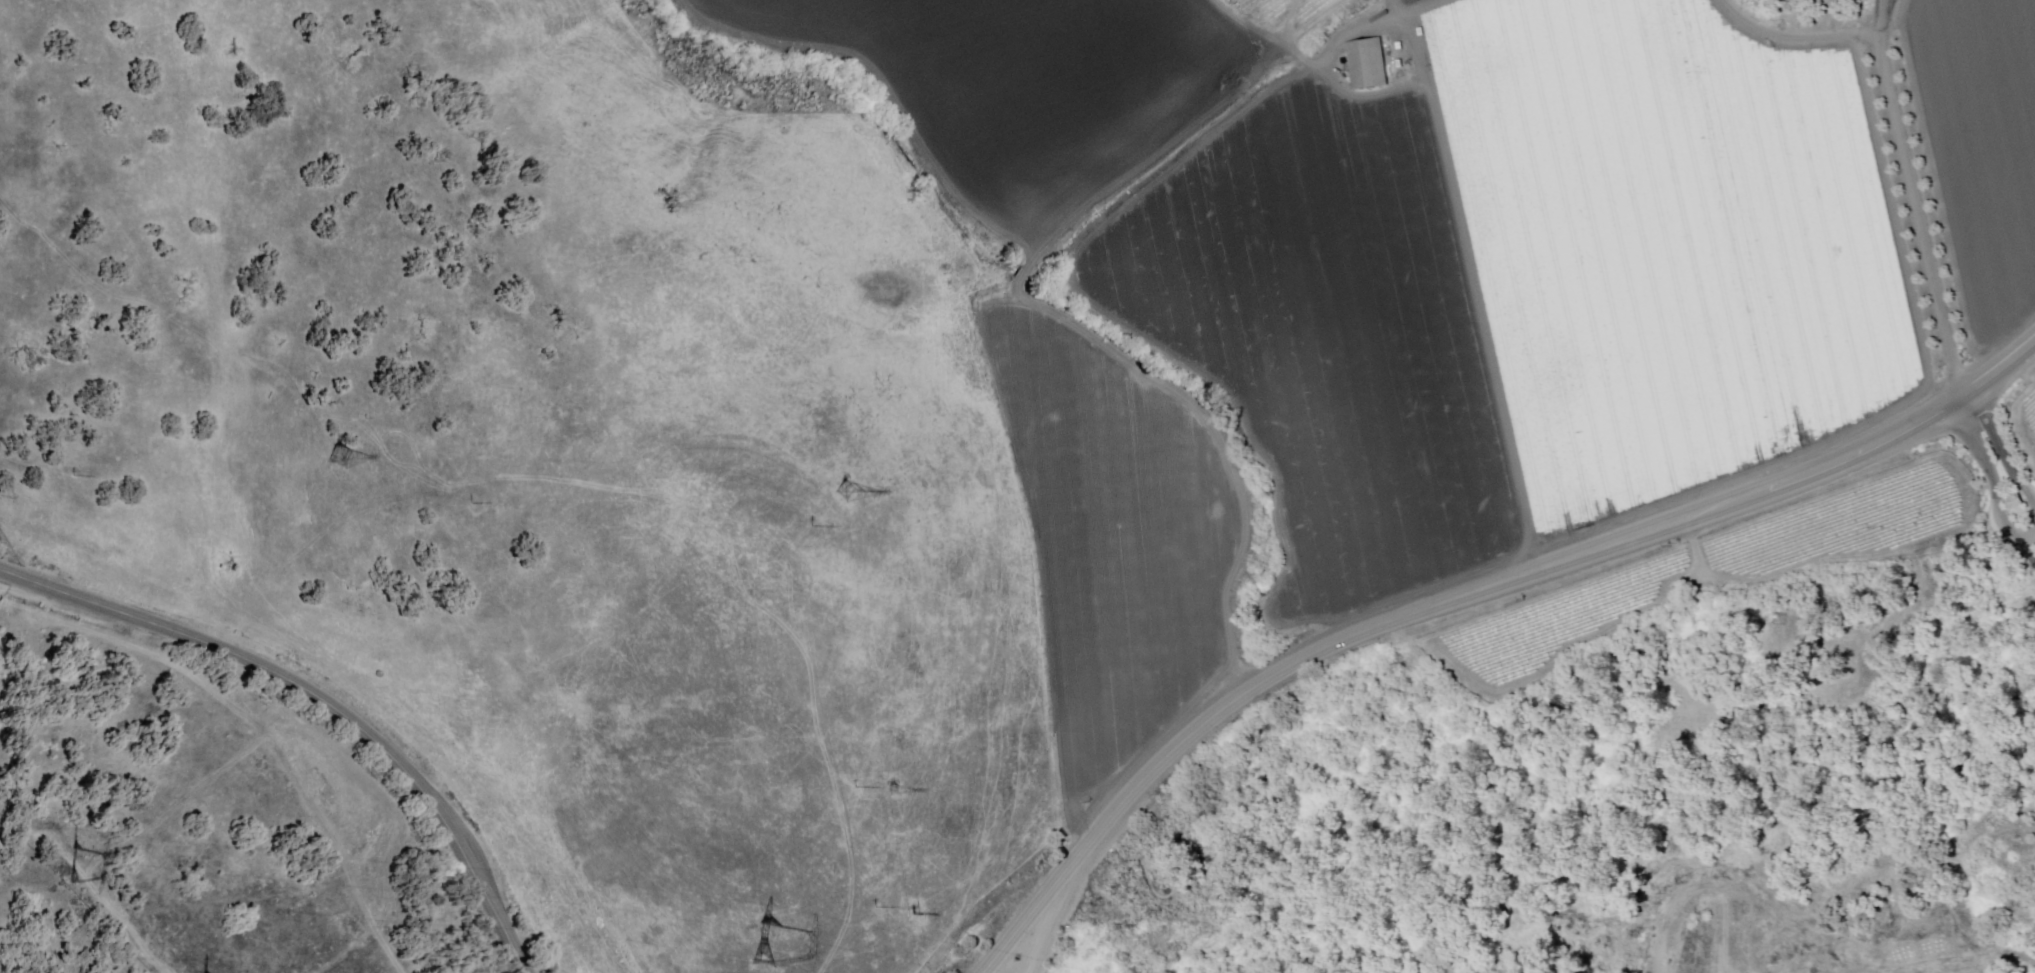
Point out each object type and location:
crop: (1407, 1)
building: (1369, 63)
crop: (1027, 84)
crop: (1980, 146)
road: (1915, 198)
crop: (1671, 242)
crop: (1377, 278)
crop: (1331, 337)
road: (2003, 445)
power tower: (344, 460)
road: (1992, 482)
power tower: (859, 484)
building: (2015, 501)
crop: (1114, 538)
road: (1465, 595)
road: (180, 666)
road: (322, 696)
power tower: (902, 791)
road: (177, 805)
road: (318, 815)
power tower: (59, 871)
road: (102, 900)
power tower: (913, 916)
power tower: (754, 949)
crop: (2019, 963)

